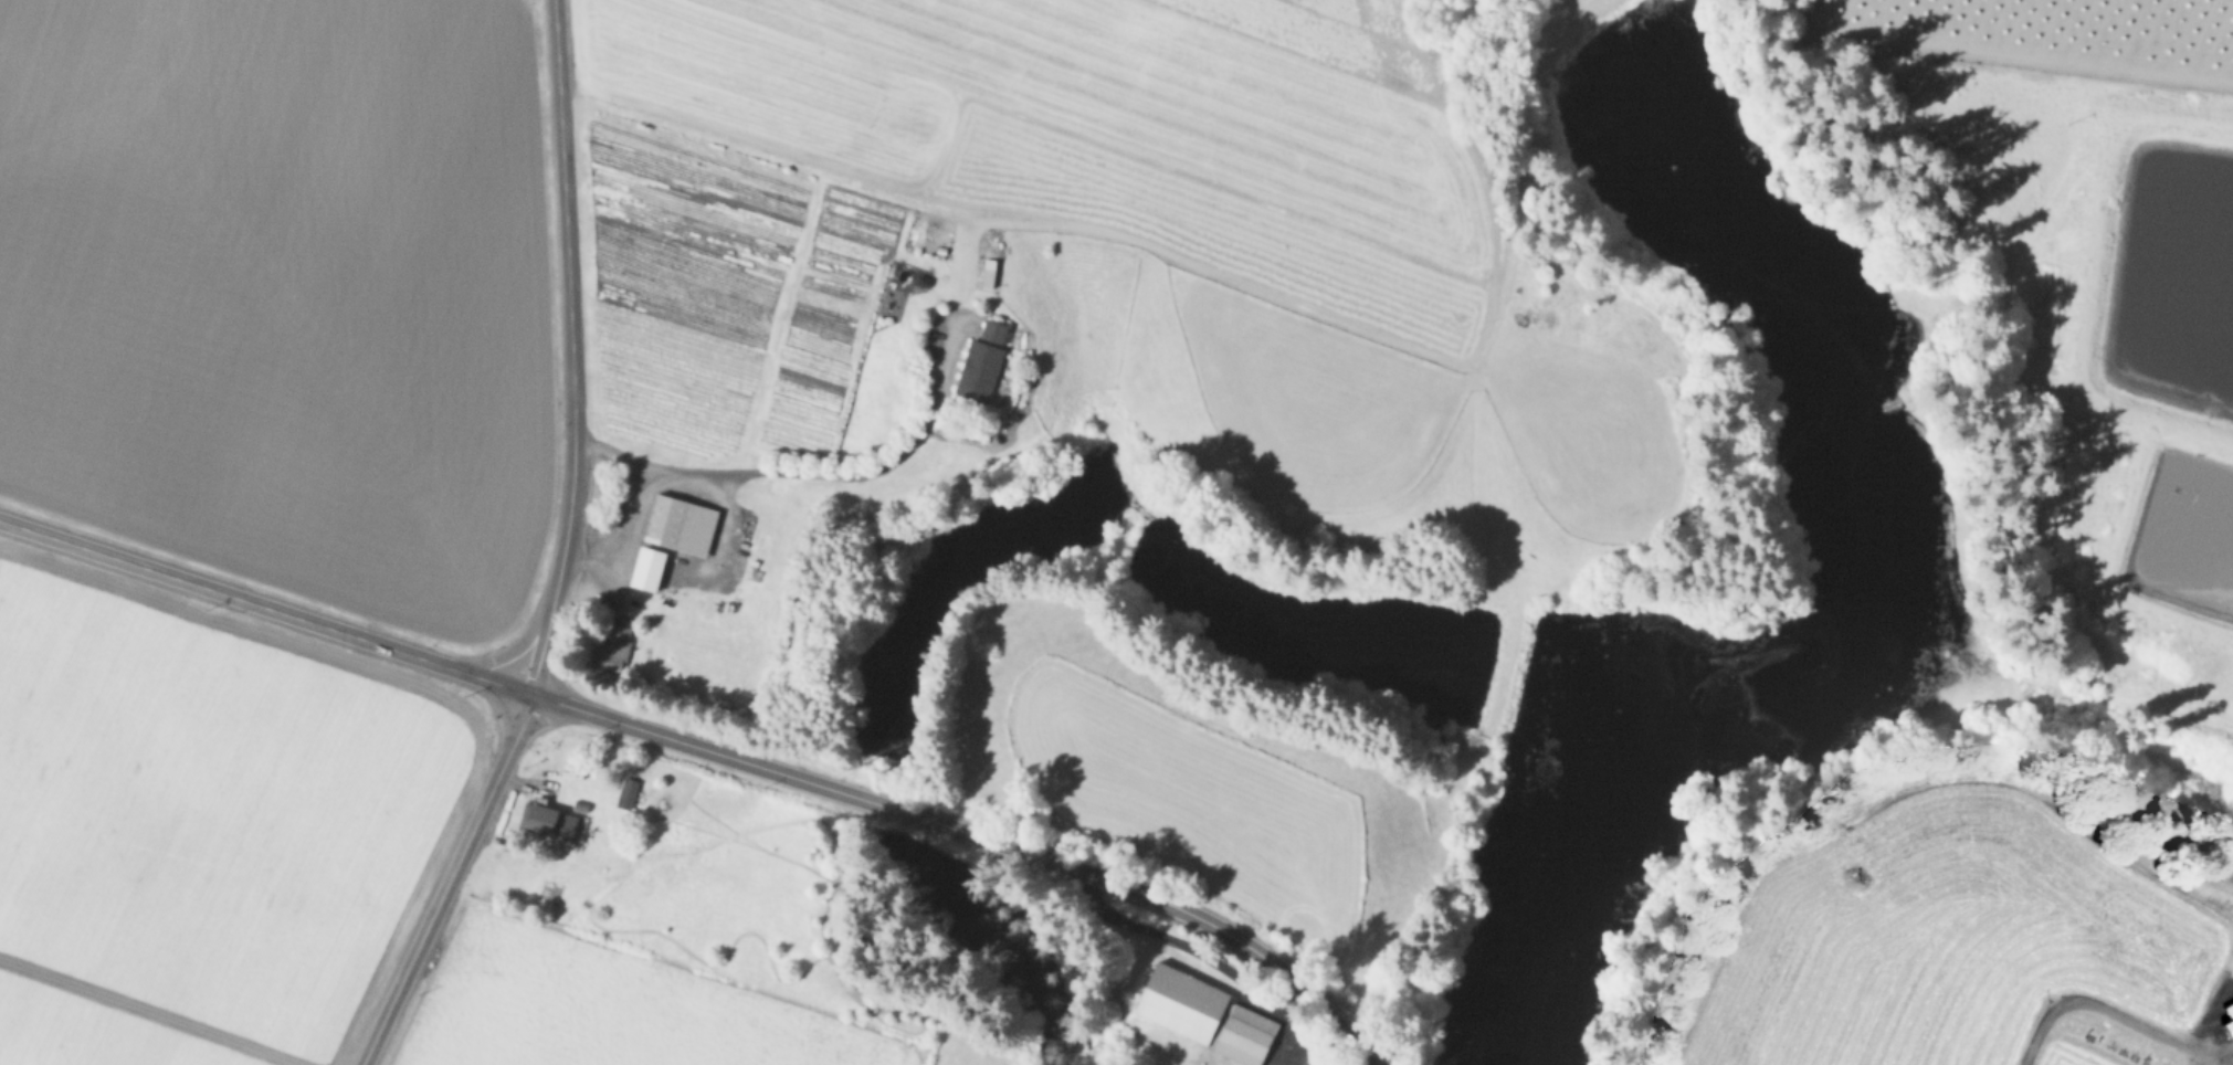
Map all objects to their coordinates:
dam: (1566, 30)
crop: (1063, 284)
crop: (284, 288)
crop: (2113, 291)
road: (570, 349)
building: (979, 362)
road: (805, 475)
building: (678, 525)
road: (620, 530)
building: (645, 569)
road: (265, 608)
building: (611, 646)
road: (510, 651)
building: (626, 789)
road: (900, 812)
building: (547, 823)
crop: (180, 834)
road: (447, 879)
crop: (651, 931)
crop: (1960, 940)
road: (1203, 949)
road: (1316, 1005)
road: (2109, 1008)
building: (1202, 1015)
building: (2227, 1026)

